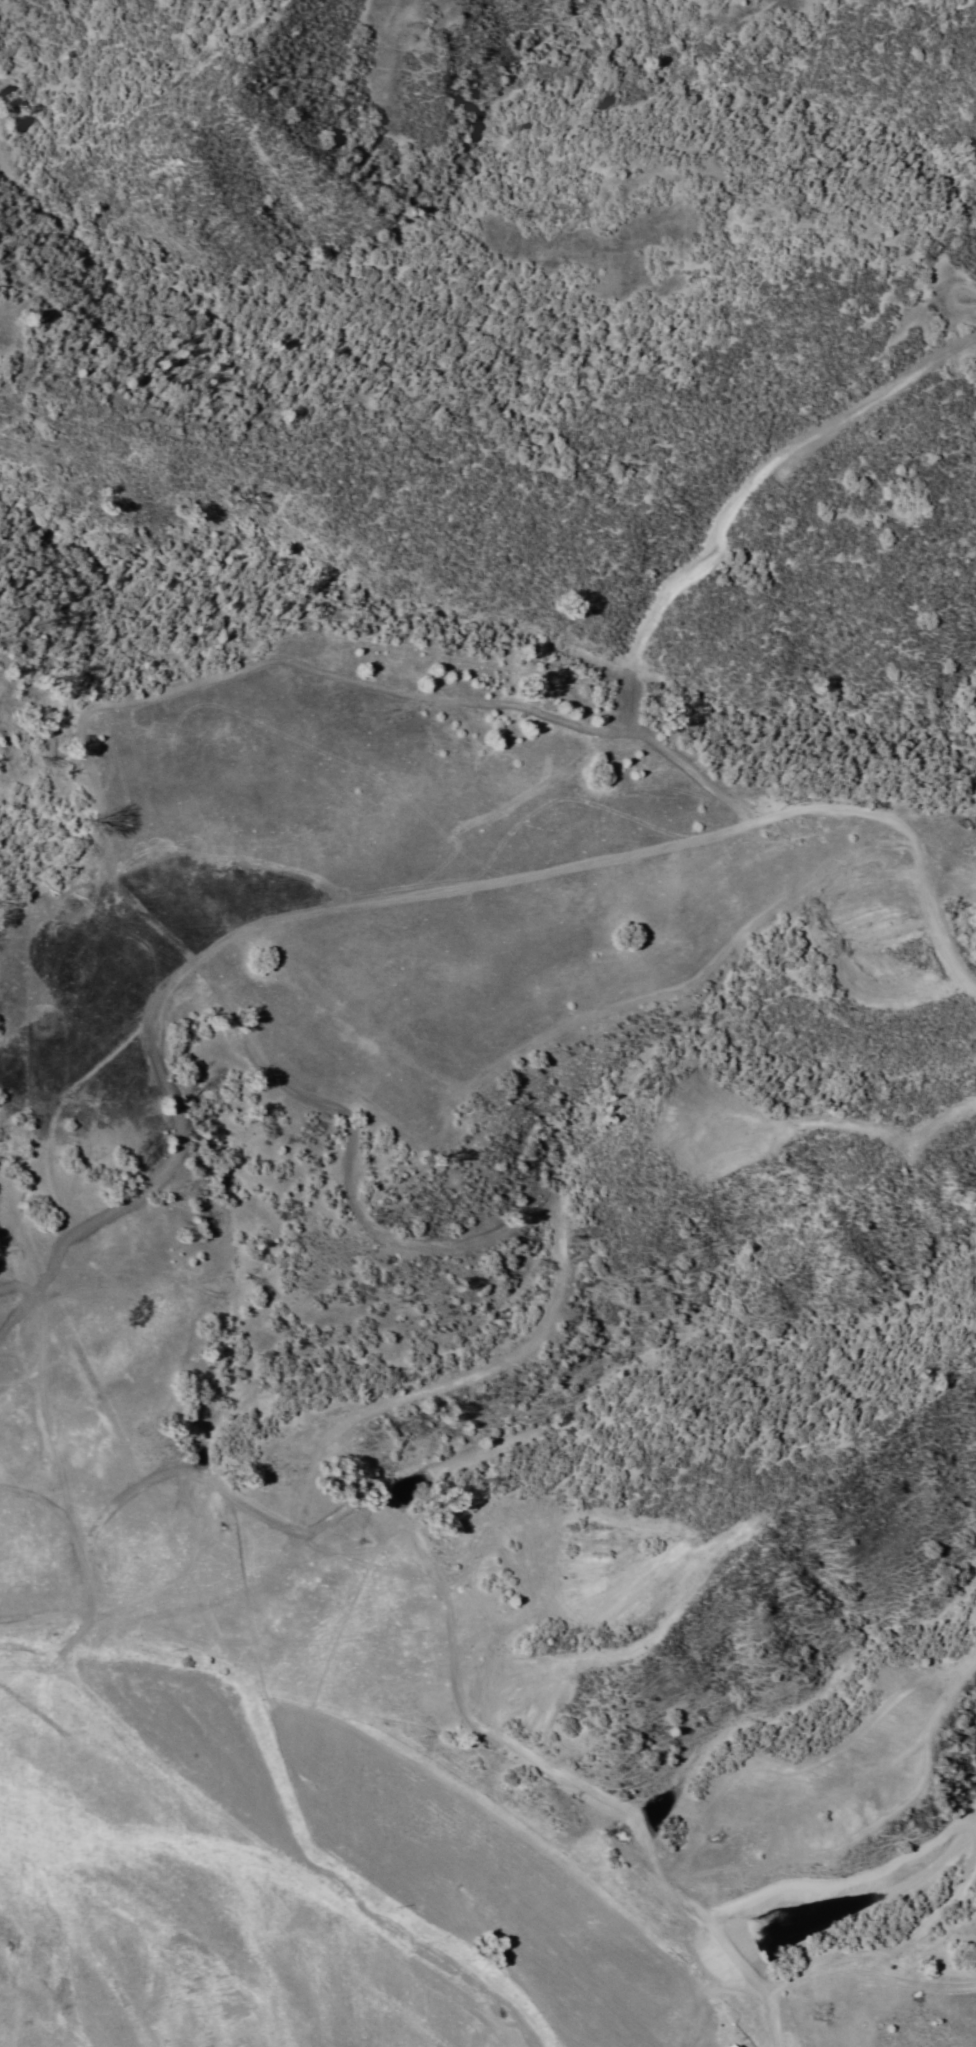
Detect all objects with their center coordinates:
building: (737, 2036)

